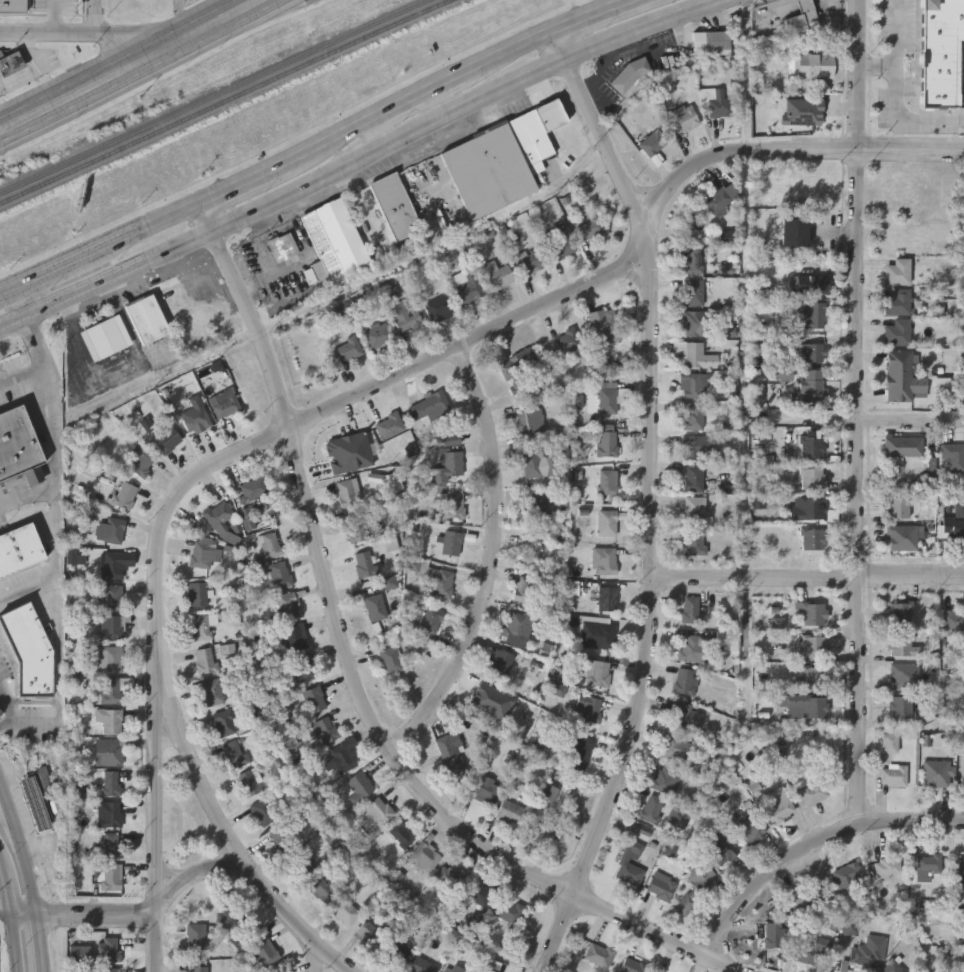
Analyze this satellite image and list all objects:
building: (14, 6)
road: (57, 16)
road: (96, 16)
building: (805, 17)
road: (77, 32)
road: (896, 34)
building: (713, 39)
building: (941, 51)
building: (11, 63)
building: (816, 64)
road: (131, 66)
road: (877, 68)
building: (631, 73)
railway: (217, 95)
railway: (227, 101)
building: (718, 101)
road: (444, 105)
building: (805, 110)
building: (685, 116)
road: (905, 121)
road: (381, 135)
building: (655, 141)
road: (322, 146)
road: (793, 151)
road: (360, 162)
building: (497, 163)
building: (815, 183)
building: (720, 196)
building: (397, 205)
building: (588, 228)
building: (795, 231)
building: (336, 237)
building: (560, 247)
building: (285, 249)
building: (529, 259)
building: (693, 260)
building: (897, 271)
building: (497, 274)
building: (812, 284)
building: (465, 285)
building: (693, 292)
building: (897, 301)
building: (439, 307)
building: (813, 314)
building: (404, 315)
building: (149, 318)
building: (603, 321)
building: (698, 322)
building: (897, 331)
building: (378, 334)
building: (107, 337)
building: (567, 340)
building: (346, 349)
building: (691, 352)
building: (812, 352)
building: (518, 364)
road: (113, 370)
building: (899, 375)
road: (23, 376)
road: (395, 377)
building: (694, 384)
building: (608, 398)
building: (224, 403)
building: (428, 406)
road: (856, 409)
building: (693, 415)
building: (194, 420)
road: (868, 420)
building: (530, 421)
building: (389, 425)
building: (167, 439)
building: (607, 439)
building: (364, 444)
building: (19, 445)
building: (903, 445)
building: (697, 446)
building: (812, 446)
building: (340, 452)
building: (948, 457)
building: (140, 461)
building: (450, 461)
building: (536, 463)
road: (28, 475)
building: (693, 477)
building: (812, 477)
building: (607, 481)
road: (28, 482)
building: (253, 487)
road: (57, 492)
building: (348, 492)
building: (124, 495)
road: (28, 498)
road: (652, 500)
building: (454, 504)
building: (539, 504)
building: (900, 506)
building: (808, 507)
building: (694, 509)
building: (264, 514)
building: (960, 519)
building: (609, 521)
building: (355, 528)
building: (110, 529)
building: (901, 536)
building: (813, 537)
building: (692, 538)
building: (451, 542)
building: (269, 544)
building: (19, 548)
building: (531, 548)
building: (201, 554)
building: (603, 560)
road: (491, 563)
building: (110, 564)
building: (364, 564)
building: (279, 574)
building: (438, 579)
road: (809, 579)
building: (524, 588)
road: (28, 592)
building: (197, 593)
building: (607, 596)
building: (111, 597)
building: (287, 604)
building: (374, 606)
building: (690, 609)
building: (814, 612)
building: (900, 612)
building: (430, 618)
building: (953, 622)
building: (514, 626)
building: (110, 627)
building: (199, 627)
building: (599, 634)
building: (296, 635)
building: (902, 644)
building: (814, 645)
building: (690, 648)
building: (28, 649)
building: (107, 658)
building: (391, 659)
building: (205, 660)
building: (497, 664)
building: (304, 666)
building: (598, 672)
building: (904, 675)
building: (814, 678)
road: (351, 679)
building: (685, 681)
building: (111, 689)
building: (212, 691)
building: (314, 698)
road: (33, 702)
road: (7, 703)
building: (804, 705)
building: (901, 705)
building: (588, 708)
building: (685, 716)
building: (109, 719)
building: (224, 720)
road: (6, 722)
road: (44, 727)
building: (325, 729)
building: (889, 742)
road: (156, 745)
building: (675, 746)
building: (108, 751)
building: (233, 752)
building: (448, 754)
building: (580, 754)
building: (342, 755)
road: (191, 757)
building: (962, 769)
building: (937, 772)
building: (894, 773)
building: (663, 776)
building: (111, 782)
building: (248, 782)
building: (359, 786)
building: (483, 788)
road: (2, 791)
building: (811, 793)
building: (35, 801)
building: (778, 803)
building: (651, 807)
building: (378, 810)
building: (263, 811)
building: (510, 811)
building: (111, 813)
building: (678, 817)
building: (751, 830)
building: (402, 832)
building: (545, 832)
building: (281, 840)
road: (811, 841)
building: (111, 844)
building: (720, 847)
road: (23, 854)
building: (423, 856)
building: (630, 862)
building: (928, 862)
building: (300, 864)
building: (887, 864)
building: (961, 868)
road: (208, 869)
building: (847, 874)
building: (449, 875)
building: (112, 876)
building: (696, 884)
building: (661, 885)
building: (318, 889)
building: (478, 892)
building: (806, 898)
building: (344, 911)
building: (508, 911)
road: (12, 913)
road: (6, 915)
road: (24, 915)
building: (229, 918)
building: (369, 933)
building: (773, 934)
building: (195, 936)
road: (39, 943)
building: (262, 947)
building: (108, 948)
building: (396, 949)
building: (868, 951)
building: (810, 952)
building: (79, 953)
building: (598, 953)
building: (421, 965)
building: (633, 965)
building: (892, 966)
building: (198, 968)
building: (453, 968)
building: (109, 969)
building: (656, 971)

